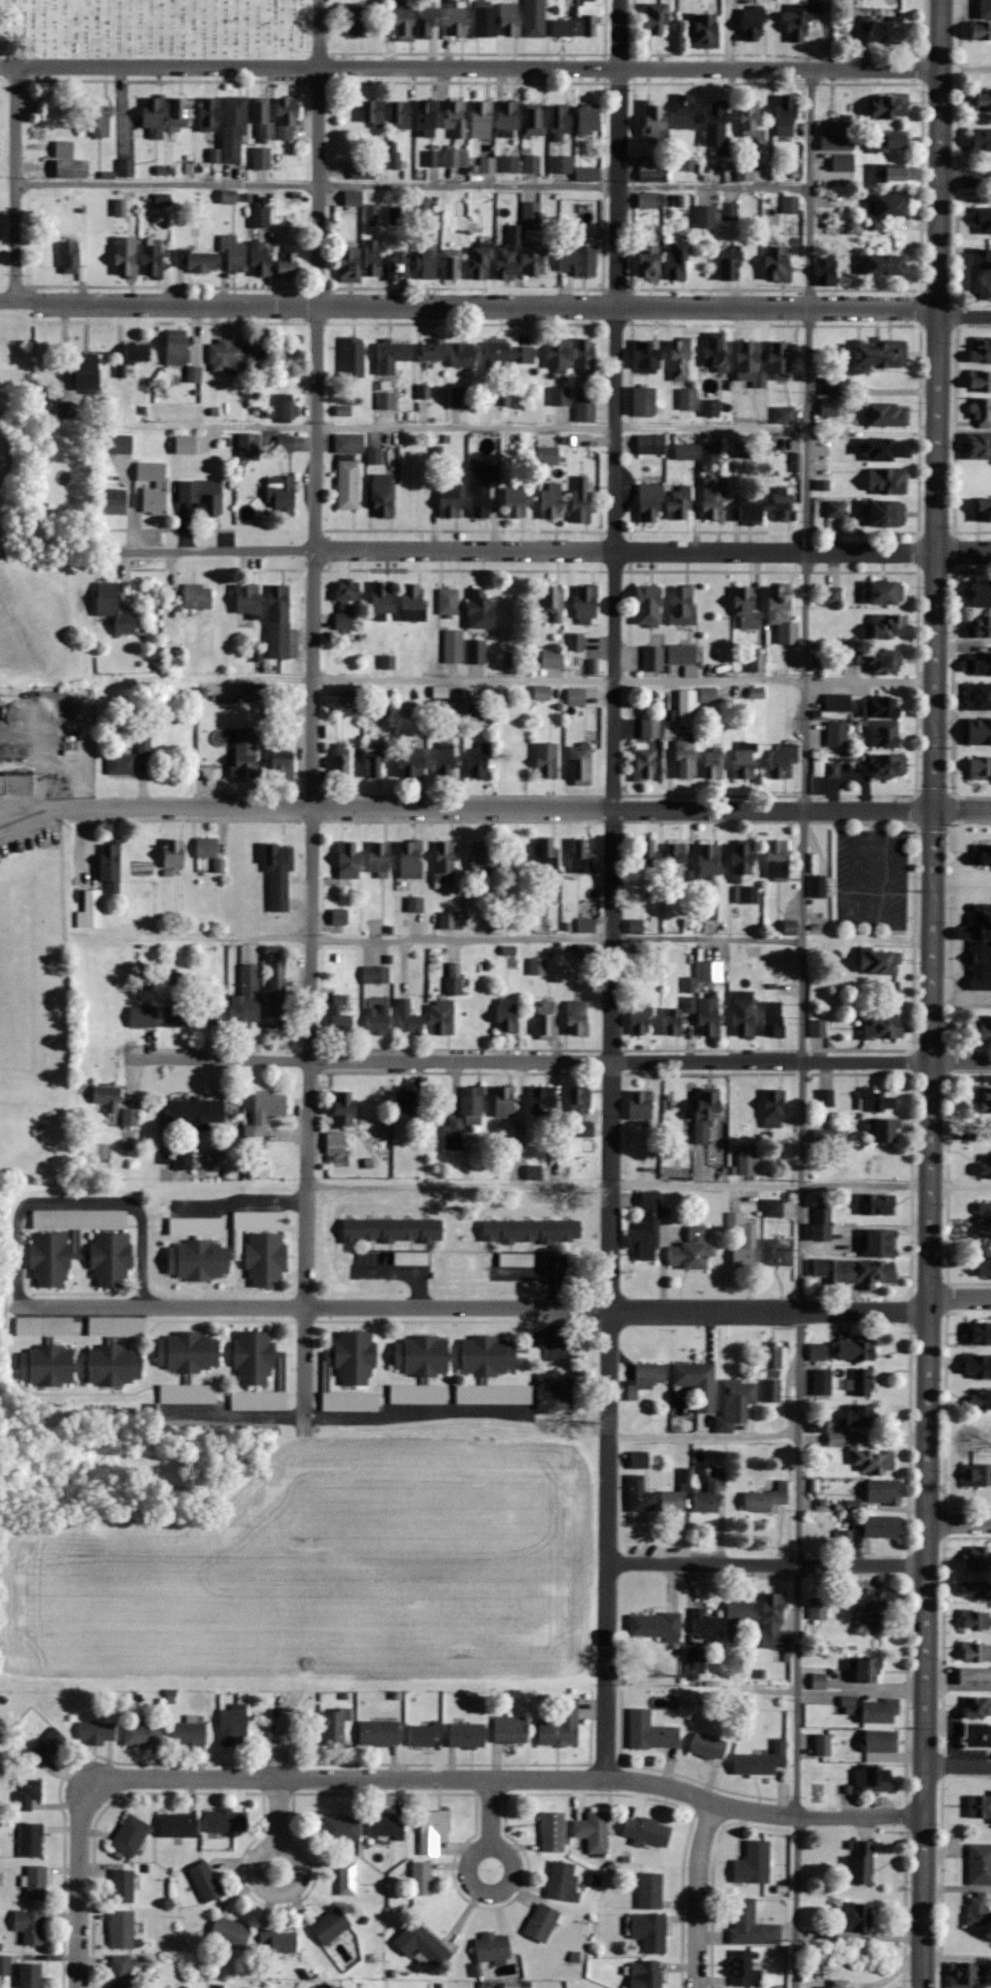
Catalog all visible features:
building: (535, 18)
building: (591, 18)
building: (657, 18)
building: (356, 19)
building: (510, 20)
building: (404, 21)
building: (485, 21)
building: (428, 23)
building: (456, 23)
building: (983, 23)
building: (754, 25)
building: (563, 27)
building: (798, 27)
building: (707, 31)
building: (889, 32)
road: (732, 33)
road: (831, 33)
park: (142, 41)
road: (470, 67)
road: (966, 67)
building: (982, 101)
building: (889, 106)
building: (686, 111)
building: (177, 113)
building: (374, 113)
building: (209, 114)
building: (400, 115)
building: (788, 115)
building: (155, 116)
building: (508, 116)
building: (288, 117)
building: (427, 117)
building: (456, 118)
building: (262, 119)
building: (482, 119)
building: (590, 119)
building: (654, 120)
building: (751, 120)
building: (100, 121)
building: (562, 121)
building: (534, 122)
building: (718, 126)
building: (234, 129)
building: (838, 135)
building: (888, 140)
building: (982, 141)
building: (65, 149)
building: (456, 157)
building: (262, 158)
building: (843, 162)
building: (562, 164)
building: (126, 167)
building: (72, 168)
building: (649, 168)
building: (363, 171)
building: (588, 173)
building: (888, 173)
road: (966, 177)
road: (22, 181)
road: (414, 184)
building: (650, 200)
building: (791, 204)
building: (892, 205)
building: (121, 207)
building: (706, 217)
building: (983, 218)
building: (853, 227)
building: (517, 243)
building: (234, 254)
building: (70, 257)
building: (126, 258)
building: (373, 258)
building: (980, 258)
building: (261, 259)
building: (535, 259)
building: (578, 260)
building: (153, 261)
building: (196, 261)
building: (426, 262)
building: (453, 262)
building: (677, 262)
building: (351, 263)
building: (480, 263)
building: (650, 263)
building: (731, 263)
building: (289, 264)
building: (778, 265)
building: (885, 265)
building: (398, 269)
building: (827, 270)
road: (495, 307)
building: (178, 347)
building: (259, 347)
building: (432, 350)
building: (981, 350)
building: (137, 351)
building: (509, 353)
building: (558, 353)
building: (585, 353)
building: (880, 353)
building: (463, 354)
building: (716, 354)
building: (393, 355)
building: (226, 356)
building: (354, 356)
building: (648, 357)
building: (681, 359)
building: (780, 360)
building: (750, 361)
building: (195, 374)
building: (87, 375)
building: (980, 379)
building: (839, 386)
building: (560, 396)
building: (458, 398)
building: (688, 398)
building: (386, 400)
building: (645, 400)
building: (287, 406)
building: (711, 407)
building: (829, 407)
building: (586, 408)
building: (983, 412)
building: (785, 414)
building: (887, 414)
road: (561, 426)
building: (286, 443)
building: (123, 444)
building: (651, 444)
building: (978, 445)
building: (249, 446)
building: (883, 448)
building: (687, 451)
building: (745, 451)
building: (710, 452)
building: (548, 455)
building: (348, 468)
building: (151, 470)
building: (888, 480)
building: (482, 488)
building: (281, 493)
building: (202, 494)
building: (383, 495)
building: (450, 498)
building: (714, 498)
building: (115, 499)
building: (150, 499)
building: (582, 499)
building: (551, 501)
building: (651, 501)
building: (516, 502)
building: (680, 502)
building: (783, 502)
building: (836, 508)
building: (983, 508)
building: (751, 511)
building: (888, 512)
road: (556, 550)
building: (887, 591)
building: (981, 593)
building: (198, 597)
building: (384, 597)
building: (248, 598)
building: (449, 601)
building: (555, 601)
building: (346, 602)
building: (413, 603)
building: (587, 603)
building: (684, 604)
building: (648, 605)
building: (114, 607)
building: (747, 607)
building: (481, 611)
building: (783, 614)
building: (279, 621)
building: (889, 625)
building: (979, 626)
building: (575, 641)
building: (454, 646)
building: (476, 651)
building: (682, 654)
building: (553, 658)
building: (653, 658)
building: (878, 660)
building: (756, 662)
building: (978, 663)
road: (624, 680)
building: (542, 692)
building: (352, 693)
building: (757, 693)
building: (709, 695)
building: (576, 696)
building: (979, 696)
building: (839, 702)
building: (880, 706)
building: (688, 707)
road: (313, 709)
building: (474, 712)
building: (651, 727)
building: (979, 731)
building: (885, 732)
building: (838, 734)
building: (144, 743)
building: (245, 753)
building: (686, 759)
building: (342, 760)
building: (375, 760)
building: (446, 760)
building: (547, 760)
building: (745, 760)
building: (480, 761)
building: (646, 761)
building: (784, 761)
building: (283, 762)
building: (413, 762)
building: (714, 762)
building: (121, 764)
building: (581, 764)
building: (887, 765)
building: (826, 768)
building: (980, 768)
building: (204, 779)
building: (16, 783)
road: (528, 808)
road: (32, 821)
building: (210, 851)
building: (175, 852)
building: (644, 852)
building: (987, 852)
building: (545, 855)
building: (580, 855)
building: (380, 857)
building: (411, 858)
building: (348, 859)
building: (482, 859)
building: (778, 859)
building: (743, 860)
building: (675, 861)
building: (112, 863)
building: (444, 863)
building: (710, 865)
building: (278, 877)
building: (818, 886)
road: (613, 889)
building: (746, 894)
building: (416, 903)
building: (93, 908)
building: (340, 916)
building: (448, 920)
building: (586, 925)
building: (636, 926)
road: (869, 936)
road: (557, 938)
building: (980, 944)
building: (881, 961)
building: (538, 966)
building: (376, 974)
building: (453, 985)
building: (277, 986)
road: (935, 994)
building: (246, 997)
building: (378, 1014)
building: (744, 1014)
building: (341, 1015)
building: (508, 1015)
building: (143, 1016)
building: (178, 1016)
building: (709, 1017)
building: (409, 1018)
building: (442, 1018)
building: (578, 1018)
building: (774, 1019)
building: (546, 1020)
building: (641, 1020)
building: (673, 1021)
road: (804, 1027)
building: (885, 1027)
building: (986, 1027)
road: (556, 1060)
building: (107, 1097)
building: (826, 1098)
building: (877, 1100)
building: (985, 1100)
building: (579, 1101)
building: (506, 1102)
building: (407, 1104)
building: (542, 1104)
building: (345, 1107)
building: (642, 1107)
building: (775, 1108)
building: (198, 1112)
building: (707, 1114)
building: (130, 1116)
building: (264, 1116)
building: (464, 1118)
building: (587, 1129)
building: (887, 1131)
building: (519, 1137)
building: (336, 1143)
building: (184, 1160)
building: (747, 1161)
building: (985, 1165)
road: (458, 1183)
road: (800, 1188)
road: (239, 1201)
road: (81, 1203)
building: (878, 1204)
building: (773, 1207)
building: (60, 1219)
building: (984, 1219)
building: (822, 1223)
building: (196, 1226)
building: (647, 1229)
building: (393, 1230)
building: (531, 1231)
building: (744, 1241)
building: (880, 1242)
building: (261, 1247)
building: (692, 1250)
building: (776, 1253)
building: (80, 1258)
building: (199, 1260)
building: (985, 1267)
building: (854, 1271)
road: (961, 1296)
road: (476, 1308)
building: (33, 1326)
building: (979, 1333)
building: (856, 1347)
building: (189, 1352)
building: (421, 1356)
building: (488, 1356)
building: (255, 1358)
building: (356, 1359)
building: (47, 1365)
building: (115, 1366)
building: (978, 1366)
building: (773, 1373)
building: (646, 1379)
building: (698, 1383)
building: (863, 1383)
building: (555, 1392)
building: (188, 1394)
building: (981, 1398)
building: (738, 1399)
building: (863, 1417)
road: (704, 1440)
building: (640, 1459)
building: (874, 1460)
building: (978, 1475)
building: (712, 1492)
building: (885, 1492)
building: (641, 1496)
building: (767, 1498)
building: (673, 1501)
road: (961, 1521)
building: (884, 1527)
building: (848, 1539)
building: (977, 1558)
road: (770, 1562)
building: (976, 1589)
building: (877, 1605)
building: (818, 1608)
building: (739, 1617)
building: (976, 1619)
building: (776, 1622)
building: (706, 1624)
building: (656, 1626)
building: (976, 1652)
building: (696, 1663)
building: (867, 1670)
building: (975, 1676)
building: (820, 1681)
building: (978, 1707)
building: (881, 1711)
building: (234, 1725)
building: (561, 1725)
building: (333, 1728)
building: (511, 1730)
building: (189, 1732)
building: (651, 1732)
building: (97, 1733)
building: (380, 1733)
building: (141, 1734)
building: (426, 1734)
building: (467, 1735)
building: (978, 1735)
building: (882, 1742)
building: (824, 1745)
building: (709, 1746)
building: (46, 1748)
building: (762, 1761)
road: (958, 1764)
road: (279, 1769)
road: (510, 1779)
building: (873, 1779)
building: (28, 1793)
building: (980, 1806)
road: (491, 1812)
building: (226, 1820)
building: (179, 1825)
building: (385, 1826)
building: (342, 1829)
building: (433, 1830)
building: (647, 1831)
building: (553, 1832)
building: (594, 1832)
building: (131, 1835)
building: (30, 1840)
building: (863, 1862)
building: (980, 1863)
building: (751, 1869)
building: (348, 1878)
building: (421, 1878)
building: (206, 1881)
building: (563, 1881)
building: (37, 1882)
building: (123, 1886)
road: (79, 1887)
building: (651, 1890)
road: (268, 1893)
road: (479, 1894)
road: (699, 1895)
building: (977, 1908)
building: (857, 1917)
building: (542, 1922)
building: (752, 1925)
building: (31, 1926)
building: (330, 1926)
building: (122, 1929)
building: (650, 1931)
building: (230, 1932)
building: (280, 1941)
building: (427, 1943)
building: (493, 1949)
building: (5, 1965)
building: (745, 1969)
building: (121, 1971)
building: (646, 1974)
building: (968, 1974)
building: (30, 1975)
building: (844, 1987)

